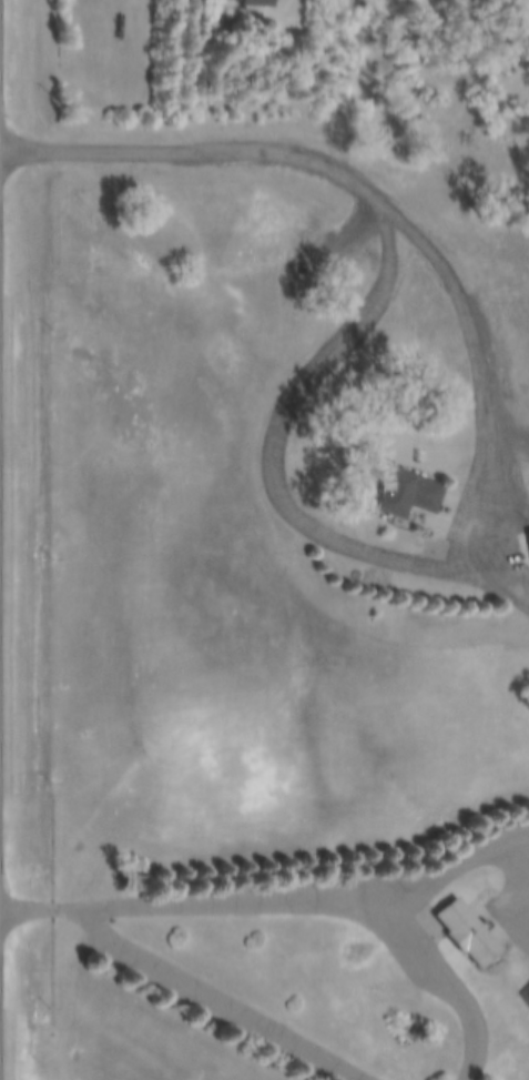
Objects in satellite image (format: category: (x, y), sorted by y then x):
building: (253, 3)
road: (210, 153)
building: (409, 495)
road: (430, 571)
road: (525, 584)
road: (512, 874)
road: (275, 902)
building: (470, 935)
road: (459, 986)
road: (204, 992)
building: (528, 1000)

